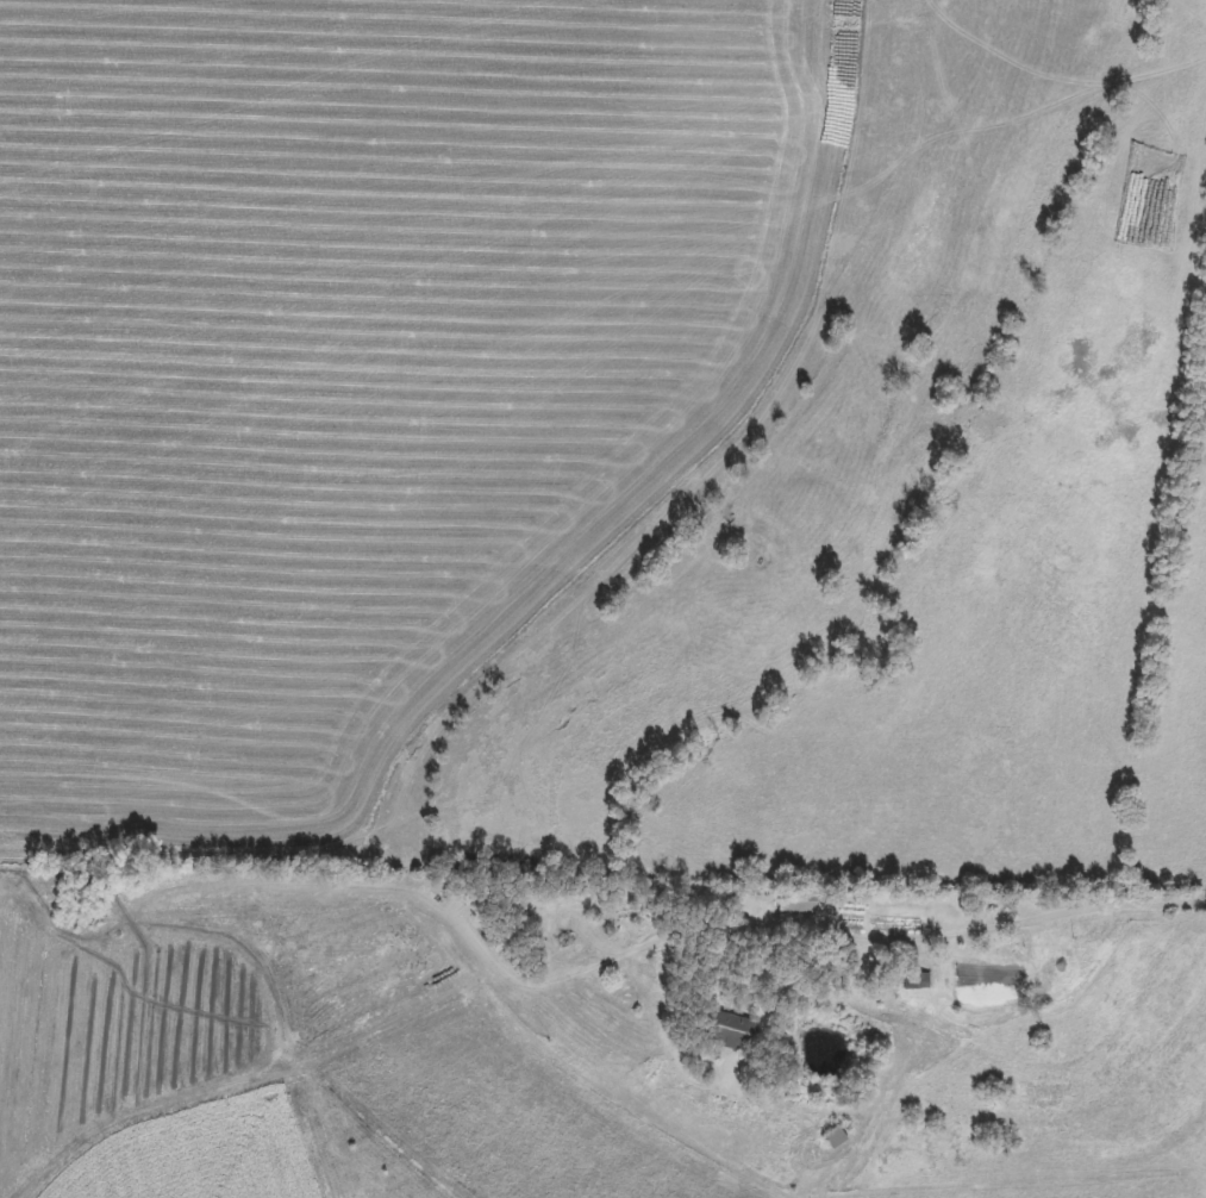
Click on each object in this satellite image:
road: (831, 940)
building: (733, 1032)
building: (838, 1138)

